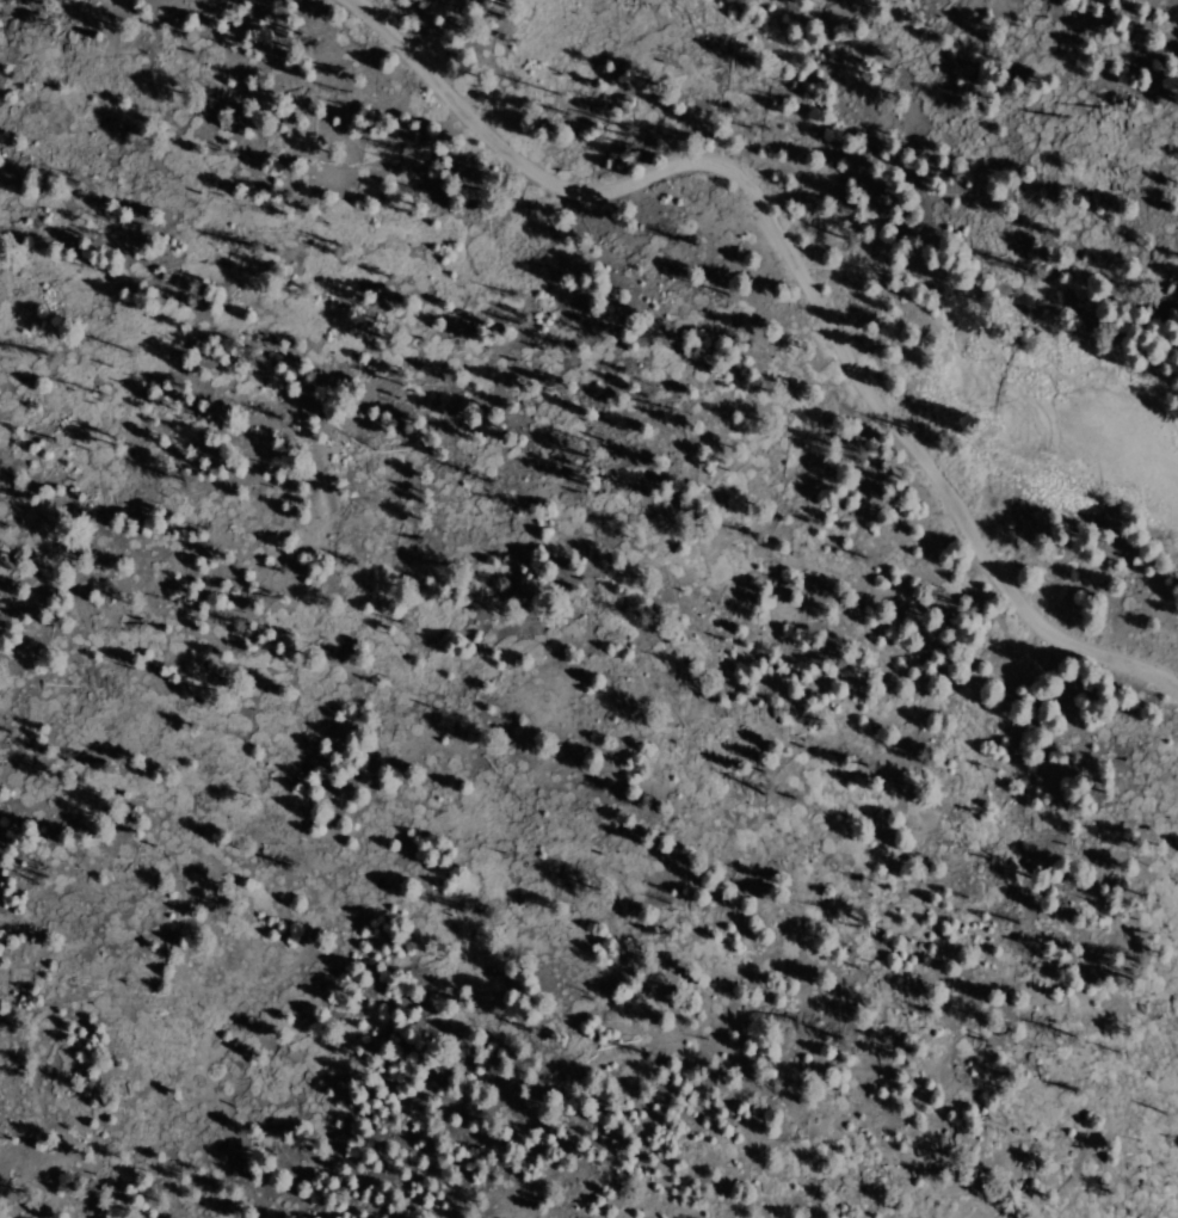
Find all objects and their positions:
road: (810, 269)

